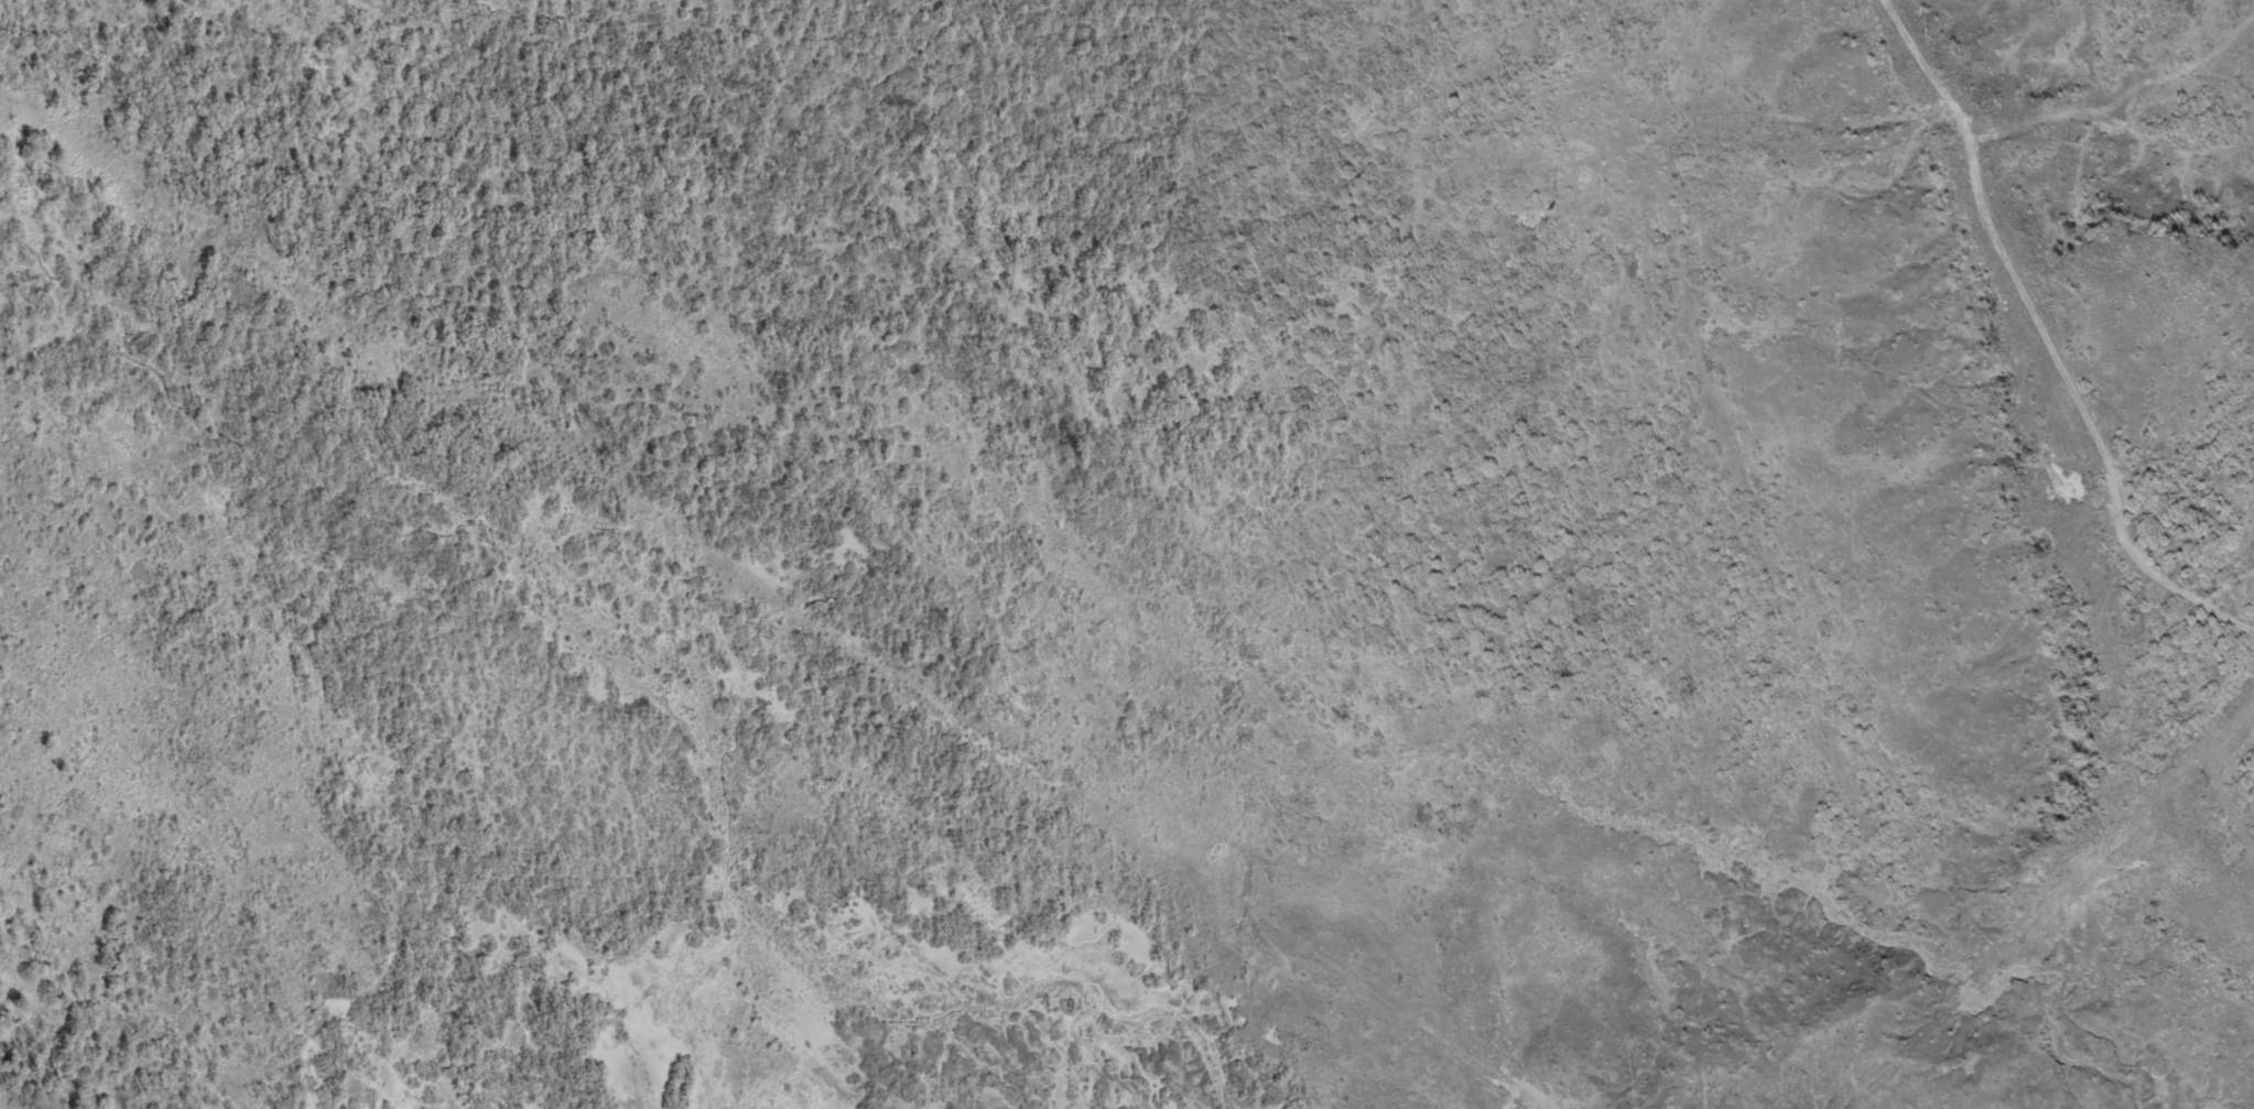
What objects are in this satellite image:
road: (2251, 123)
road: (1706, 128)
road: (2037, 355)
road: (1625, 496)

